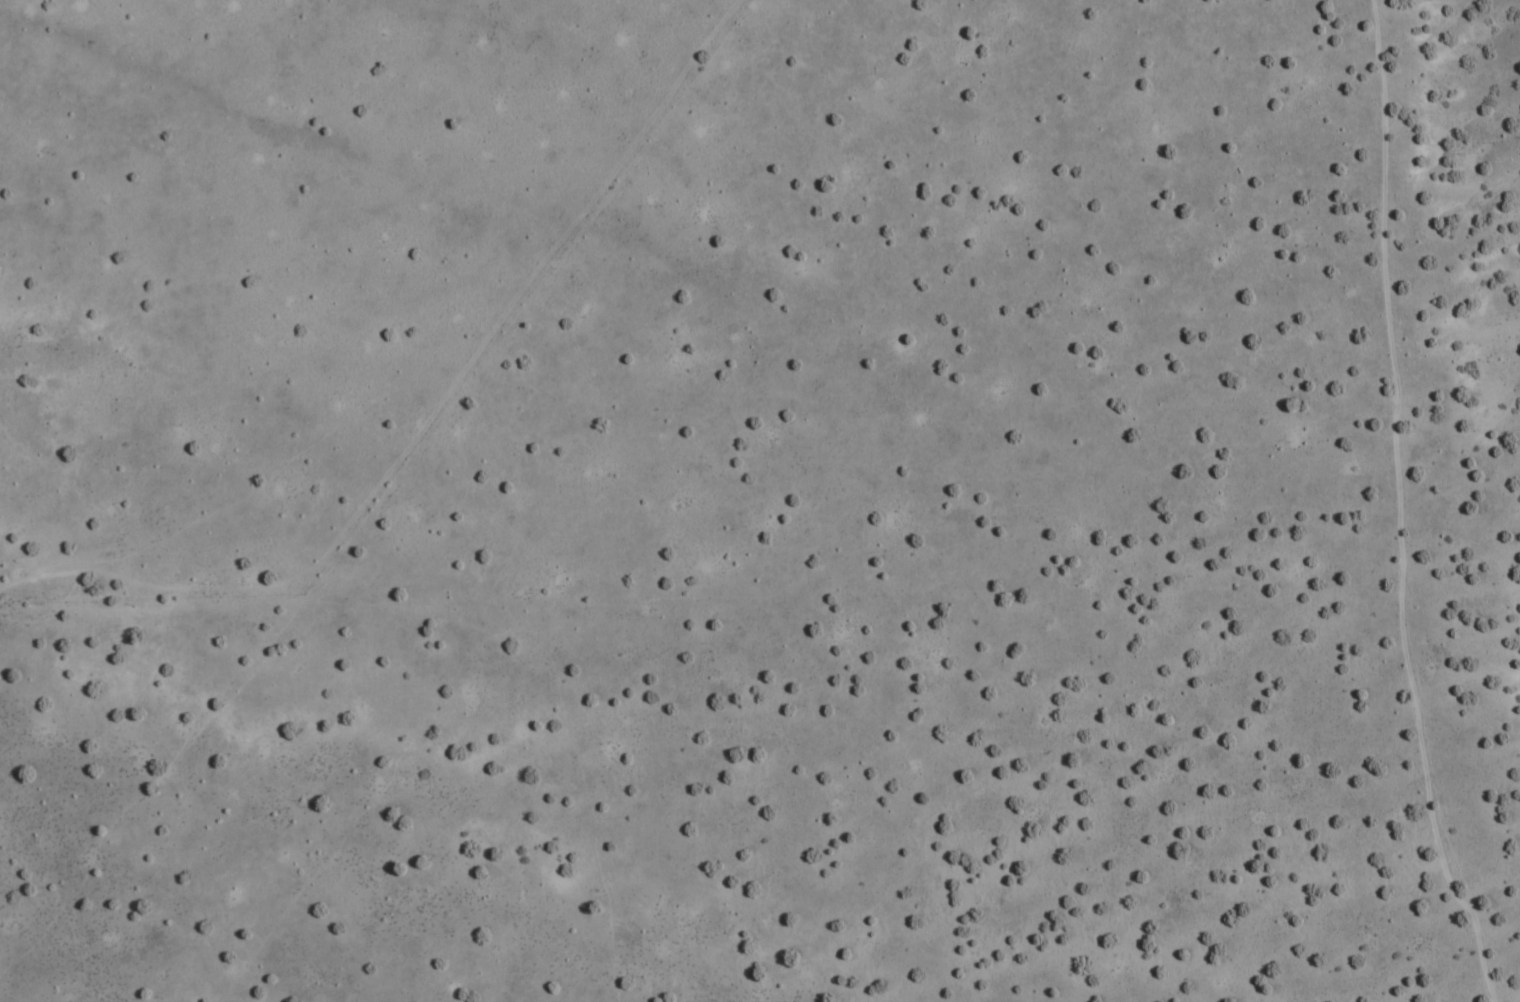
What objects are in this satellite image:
road: (1368, 512)

